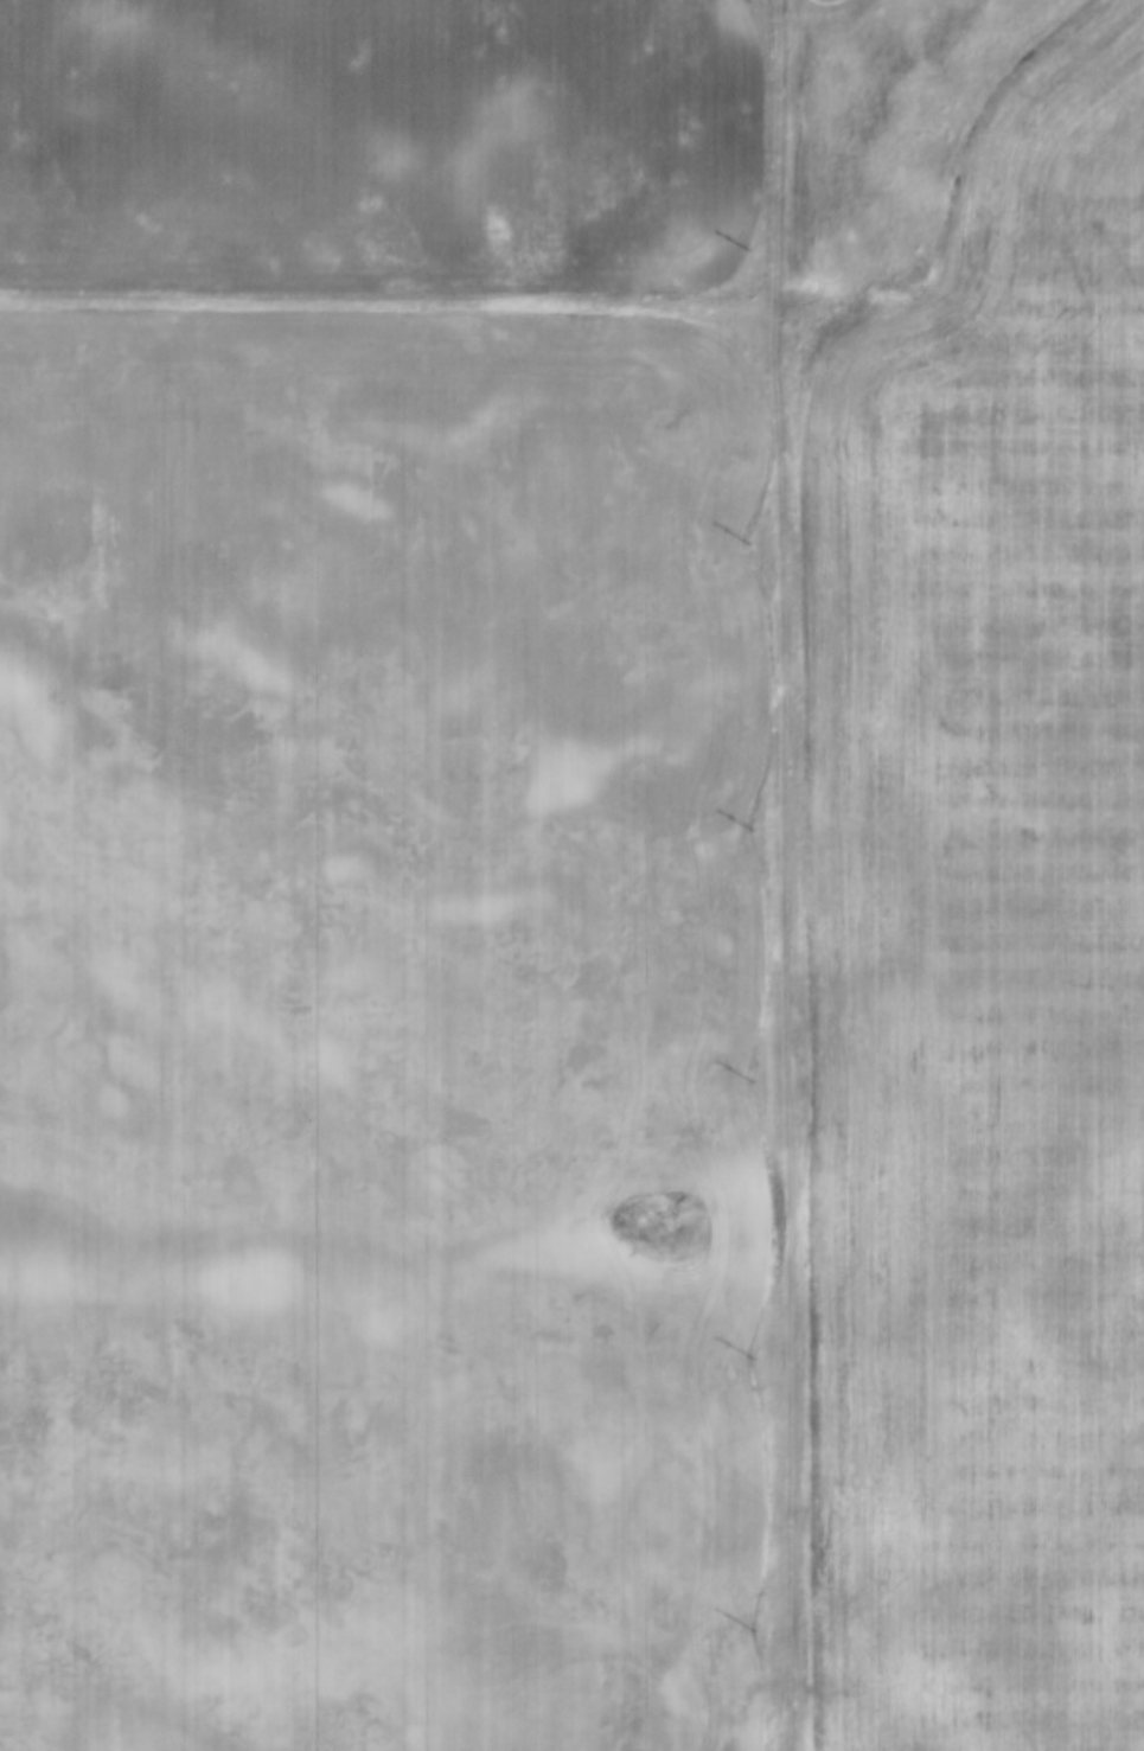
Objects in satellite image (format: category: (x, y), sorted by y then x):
road: (784, 875)

